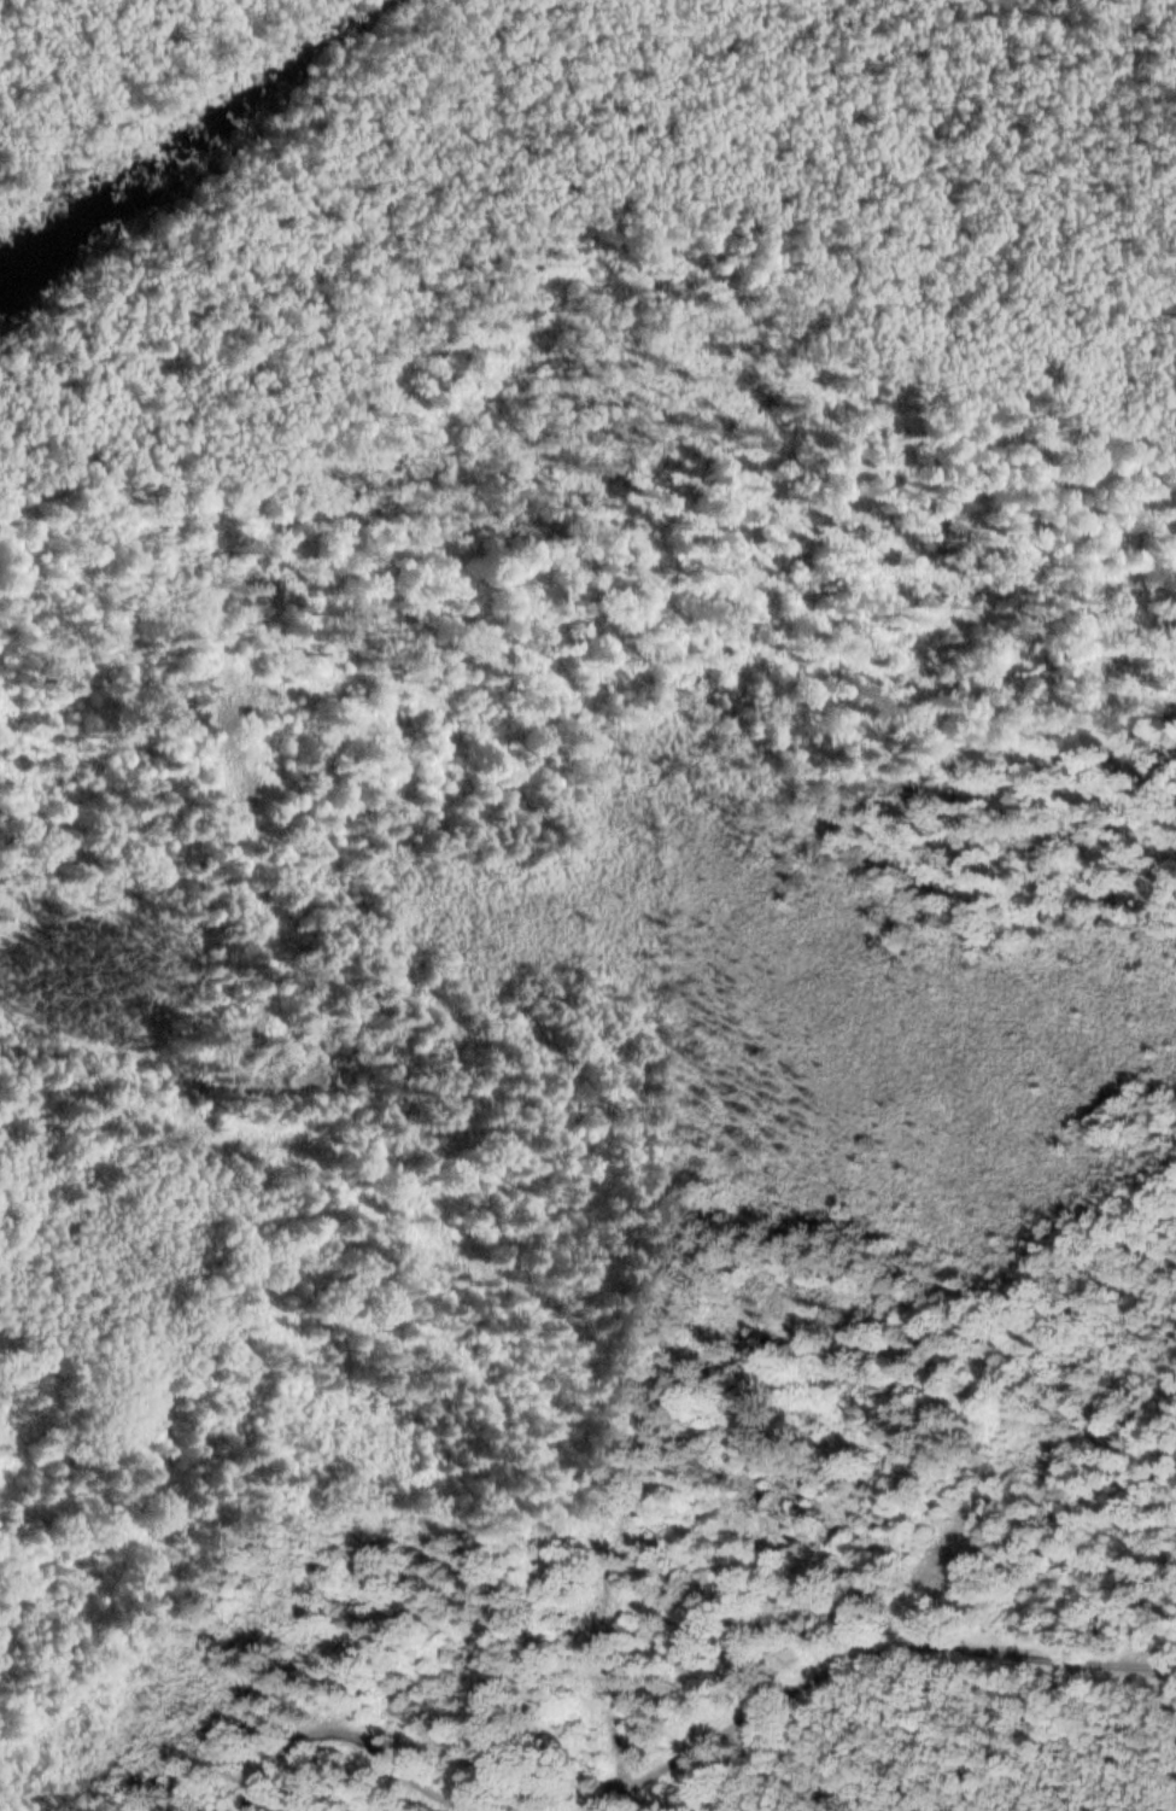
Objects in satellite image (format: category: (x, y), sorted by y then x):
road: (707, 502)
road: (854, 1640)
road: (341, 1758)

